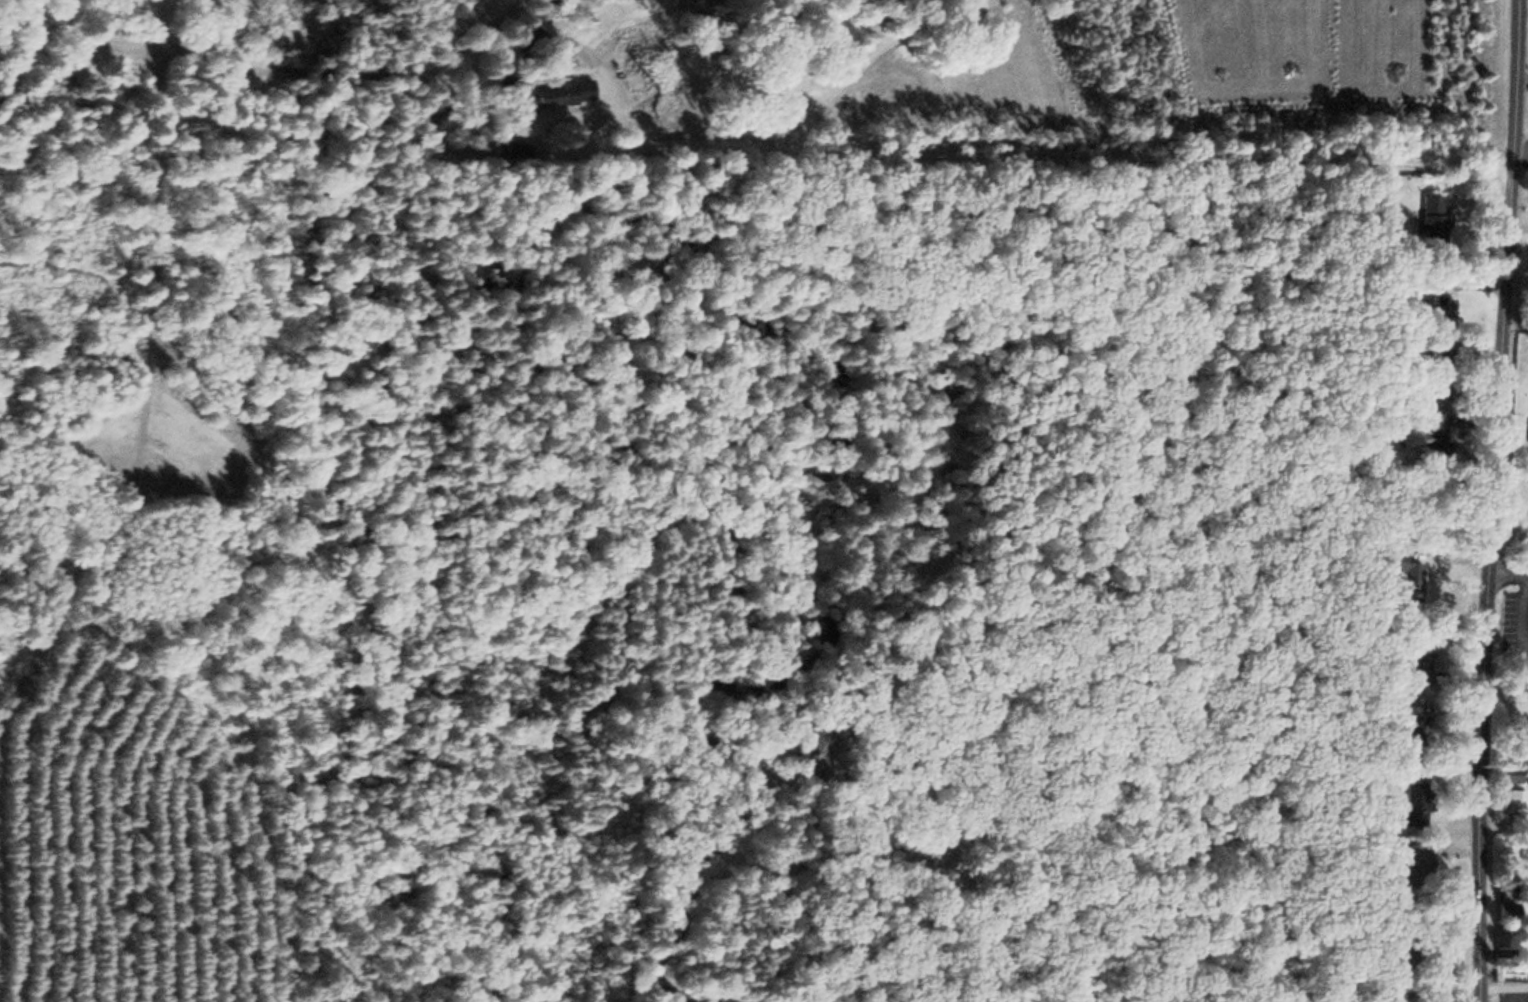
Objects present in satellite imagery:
building: (545, 96)
road: (784, 134)
building: (509, 151)
building: (1429, 220)
building: (1438, 305)
building: (1432, 429)
building: (1527, 431)
road: (1493, 501)
building: (1412, 665)
building: (1404, 726)
building: (807, 755)
building: (1508, 773)
building: (1510, 797)
building: (1405, 806)
building: (1411, 866)
building: (1503, 910)

